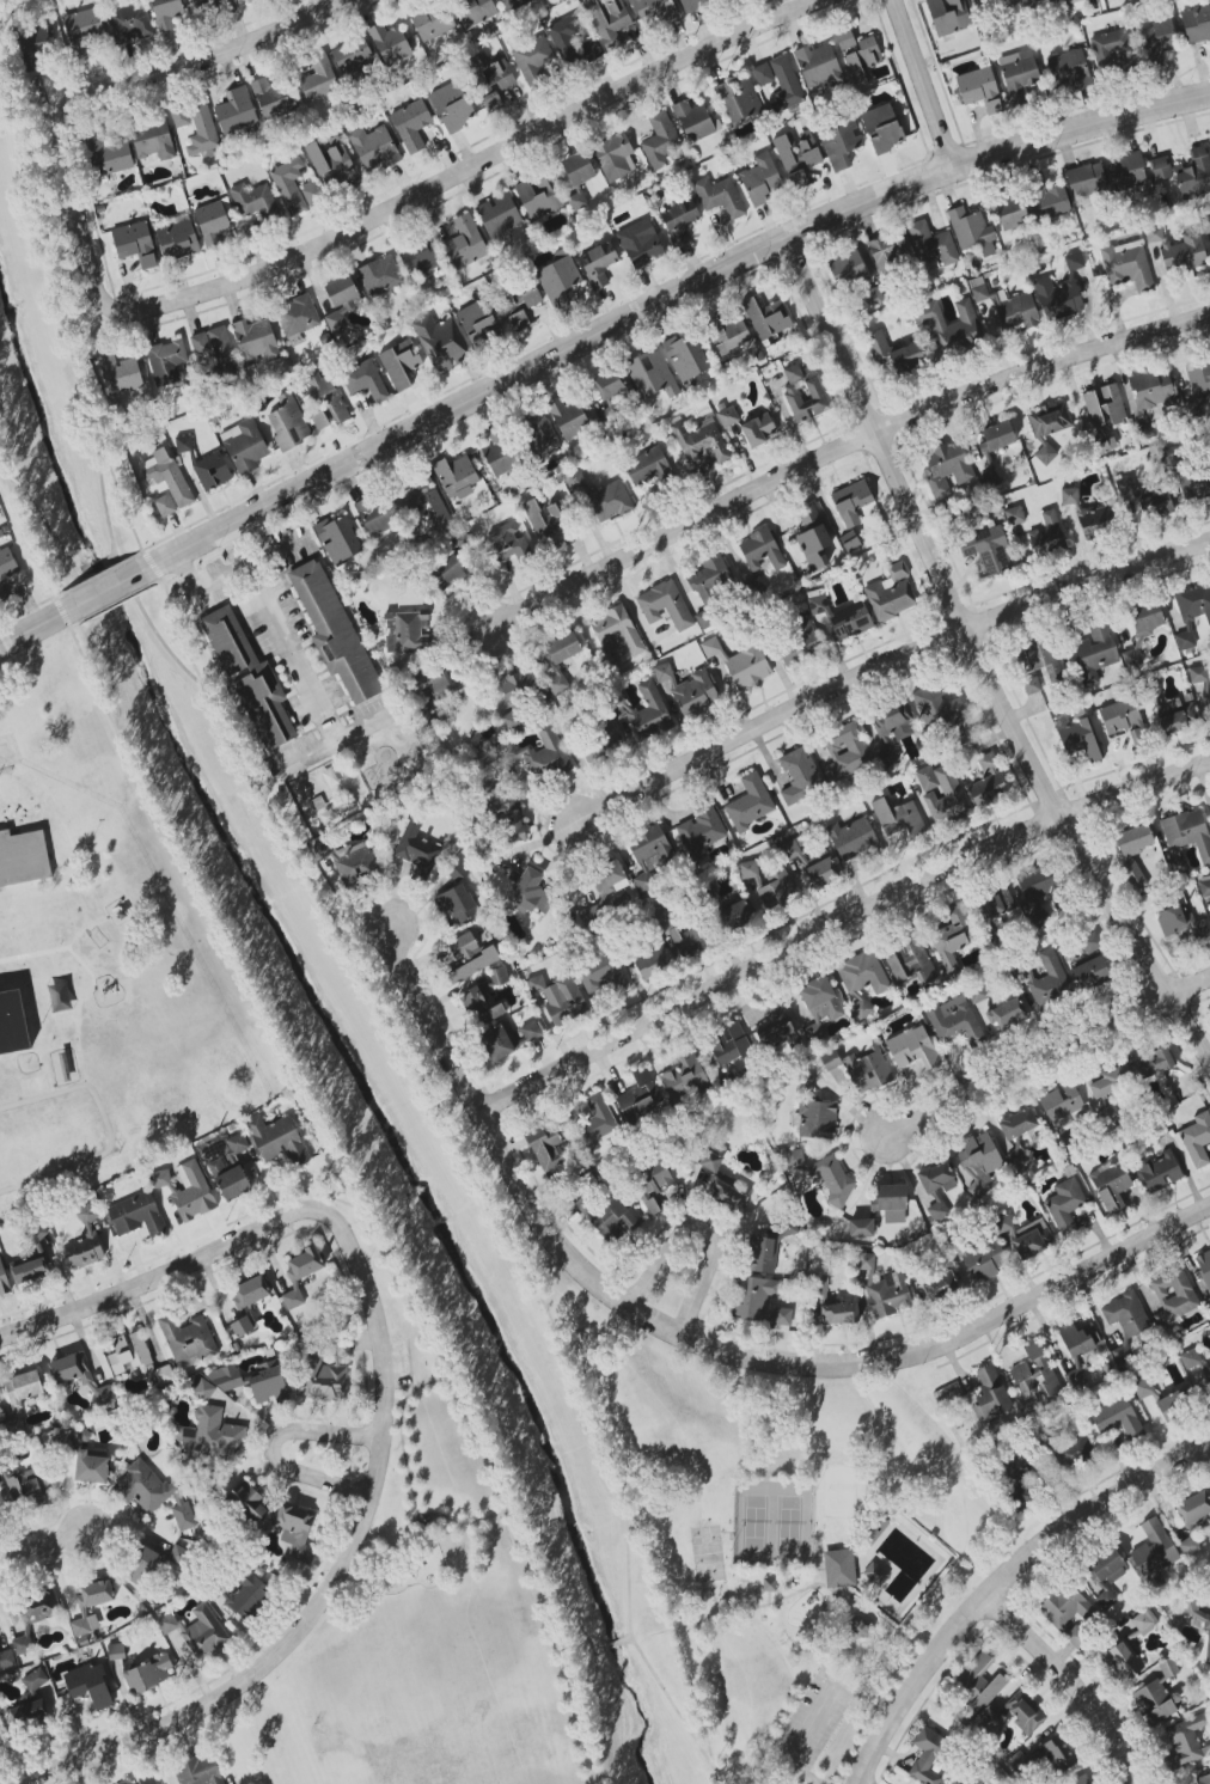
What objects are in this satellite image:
building: (203, 1)
building: (1069, 1)
building: (512, 4)
building: (695, 4)
building: (985, 4)
building: (1032, 4)
building: (655, 10)
building: (473, 11)
building: (166, 13)
building: (948, 16)
building: (609, 20)
building: (432, 22)
building: (130, 23)
building: (1196, 24)
building: (82, 29)
building: (844, 39)
building: (1156, 41)
building: (389, 43)
building: (570, 43)
building: (1107, 47)
building: (33, 48)
road: (215, 55)
building: (353, 56)
building: (533, 61)
building: (862, 61)
building: (818, 67)
building: (1067, 69)
building: (763, 74)
building: (1020, 74)
building: (319, 79)
building: (494, 81)
road: (921, 84)
building: (784, 85)
building: (979, 88)
building: (270, 98)
building: (739, 98)
road: (11, 100)
building: (452, 106)
building: (236, 112)
building: (179, 116)
building: (692, 121)
building: (411, 124)
building: (881, 128)
building: (201, 132)
building: (153, 140)
building: (660, 140)
building: (839, 142)
building: (373, 148)
building: (105, 154)
building: (615, 157)
building: (796, 157)
building: (329, 160)
building: (577, 167)
building: (1160, 167)
building: (1127, 172)
building: (1194, 173)
building: (760, 179)
building: (1086, 179)
building: (289, 185)
building: (312, 194)
building: (537, 196)
building: (720, 196)
building: (1047, 200)
building: (255, 201)
building: (576, 201)
building: (1010, 212)
building: (499, 218)
building: (679, 221)
road: (367, 222)
building: (214, 224)
building: (971, 231)
road: (43, 236)
building: (177, 239)
building: (135, 243)
building: (465, 243)
building: (640, 244)
building: (931, 244)
building: (1179, 249)
building: (887, 252)
building: (420, 257)
building: (598, 264)
building: (847, 265)
building: (1126, 267)
building: (379, 276)
building: (558, 280)
building: (1061, 292)
building: (979, 293)
building: (874, 295)
building: (341, 303)
road: (662, 303)
building: (521, 306)
building: (1016, 313)
building: (765, 317)
building: (297, 318)
building: (479, 325)
building: (952, 326)
building: (727, 332)
building: (255, 341)
building: (439, 341)
building: (216, 349)
building: (893, 352)
building: (685, 355)
building: (166, 361)
building: (401, 363)
building: (118, 374)
building: (652, 374)
building: (1198, 377)
building: (365, 380)
building: (610, 386)
building: (1151, 389)
building: (815, 391)
building: (325, 398)
building: (1104, 405)
building: (568, 416)
building: (727, 416)
building: (319, 420)
building: (288, 422)
building: (1144, 423)
building: (1047, 426)
building: (758, 429)
building: (538, 434)
building: (997, 435)
building: (701, 440)
building: (183, 444)
building: (244, 446)
road: (839, 448)
building: (500, 453)
road: (105, 456)
building: (1171, 456)
building: (648, 466)
building: (946, 468)
building: (212, 471)
building: (167, 476)
building: (456, 477)
building: (574, 479)
building: (1194, 485)
building: (1069, 495)
building: (851, 499)
building: (611, 500)
building: (165, 505)
building: (1155, 505)
building: (423, 506)
building: (378, 514)
building: (1014, 515)
building: (1095, 520)
building: (1046, 534)
building: (338, 538)
building: (812, 538)
building: (506, 542)
building: (849, 542)
building: (760, 550)
building: (986, 550)
road: (121, 567)
building: (6, 570)
building: (446, 572)
road: (232, 576)
building: (709, 579)
road: (105, 589)
building: (891, 593)
road: (92, 606)
building: (665, 606)
road: (636, 612)
building: (1192, 612)
building: (841, 617)
building: (1144, 618)
road: (35, 625)
building: (334, 630)
building: (616, 630)
building: (409, 633)
road: (280, 635)
building: (799, 641)
building: (1094, 653)
road: (979, 659)
building: (1039, 659)
building: (1132, 659)
building: (740, 662)
road: (884, 665)
building: (1197, 674)
building: (250, 680)
building: (439, 680)
building: (1031, 685)
building: (690, 690)
building: (519, 695)
building: (1208, 701)
building: (936, 708)
building: (640, 713)
building: (1119, 716)
building: (1174, 717)
building: (888, 731)
building: (1078, 738)
road: (335, 741)
building: (595, 747)
building: (845, 752)
building: (538, 754)
road: (238, 762)
building: (800, 776)
building: (988, 782)
building: (941, 792)
building: (750, 802)
road: (164, 814)
building: (899, 818)
building: (509, 821)
building: (699, 832)
building: (1187, 832)
building: (851, 838)
building: (1133, 839)
building: (322, 850)
building: (416, 850)
building: (649, 854)
building: (23, 859)
building: (356, 864)
building: (812, 864)
building: (609, 876)
building: (1133, 876)
building: (1035, 881)
building: (769, 885)
building: (1204, 888)
building: (531, 892)
building: (458, 903)
building: (995, 904)
building: (591, 915)
building: (734, 915)
road: (838, 923)
building: (1181, 924)
building: (952, 939)
building: (691, 941)
building: (1090, 942)
building: (469, 957)
building: (652, 963)
building: (912, 964)
building: (862, 973)
building: (1089, 973)
building: (601, 975)
building: (1050, 980)
building: (558, 997)
building: (820, 1000)
building: (479, 1007)
building: (861, 1009)
building: (1007, 1014)
building: (954, 1020)
building: (12, 1026)
building: (774, 1026)
building: (531, 1031)
building: (499, 1041)
building: (729, 1044)
building: (912, 1049)
road: (1046, 1056)
building: (830, 1059)
building: (1149, 1064)
building: (867, 1070)
building: (684, 1079)
building: (1107, 1082)
building: (638, 1096)
building: (1064, 1107)
building: (817, 1118)
building: (1017, 1124)
road: (105, 1129)
road: (446, 1129)
building: (277, 1140)
building: (1197, 1140)
building: (548, 1148)
road: (481, 1155)
building: (979, 1156)
building: (710, 1161)
building: (231, 1169)
building: (1159, 1171)
building: (826, 1175)
building: (1111, 1185)
building: (654, 1186)
building: (187, 1190)
building: (935, 1190)
building: (727, 1196)
building: (892, 1197)
building: (1065, 1204)
road: (346, 1211)
building: (137, 1216)
building: (606, 1216)
building: (861, 1228)
road: (701, 1232)
building: (1022, 1236)
building: (85, 1240)
building: (32, 1260)
building: (863, 1260)
building: (988, 1260)
building: (1204, 1265)
building: (300, 1273)
road: (397, 1273)
building: (4, 1281)
building: (817, 1285)
building: (940, 1285)
building: (250, 1291)
building: (888, 1295)
building: (1173, 1295)
building: (753, 1296)
road: (106, 1297)
building: (839, 1313)
building: (782, 1316)
building: (242, 1326)
building: (188, 1340)
road: (703, 1344)
building: (1077, 1349)
building: (130, 1354)
parking lot: (393, 1363)
building: (71, 1368)
building: (1197, 1371)
building: (1034, 1373)
building: (163, 1375)
building: (325, 1379)
building: (245, 1382)
road: (411, 1387)
building: (23, 1388)
building: (1143, 1388)
building: (951, 1393)
building: (103, 1394)
building: (990, 1394)
building: (1172, 1406)
building: (1117, 1418)
building: (210, 1434)
road: (401, 1441)
road: (270, 1446)
building: (1074, 1449)
road: (617, 1465)
building: (91, 1467)
building: (20, 1487)
park: (837, 1490)
building: (153, 1492)
building: (1016, 1492)
building: (247, 1502)
building: (1193, 1507)
park: (770, 1519)
road: (460, 1523)
road: (359, 1526)
building: (294, 1531)
park: (786, 1536)
road: (47, 1547)
building: (1154, 1550)
park: (705, 1552)
road: (815, 1556)
building: (151, 1562)
building: (1107, 1566)
building: (839, 1569)
building: (874, 1574)
road: (533, 1577)
road: (1003, 1584)
road: (792, 1594)
building: (247, 1596)
building: (1106, 1599)
building: (91, 1605)
building: (1064, 1606)
building: (1197, 1619)
building: (1144, 1621)
building: (861, 1627)
park: (429, 1629)
building: (197, 1630)
road: (629, 1637)
building: (1075, 1637)
road: (610, 1643)
road: (588, 1644)
road: (902, 1645)
road: (863, 1648)
building: (6, 1660)
building: (1123, 1661)
building: (147, 1674)
building: (35, 1679)
building: (979, 1684)
road: (1070, 1684)
building: (90, 1685)
building: (1157, 1693)
road: (695, 1705)
building: (1025, 1712)
building: (27, 1713)
road: (814, 1713)
building: (992, 1721)
parking lot: (807, 1724)
building: (1185, 1740)
building: (0, 1743)
building: (1058, 1754)
building: (927, 1755)
building: (198, 1770)
building: (1203, 1779)
building: (145, 1780)
building: (1078, 1780)
building: (974, 1782)

